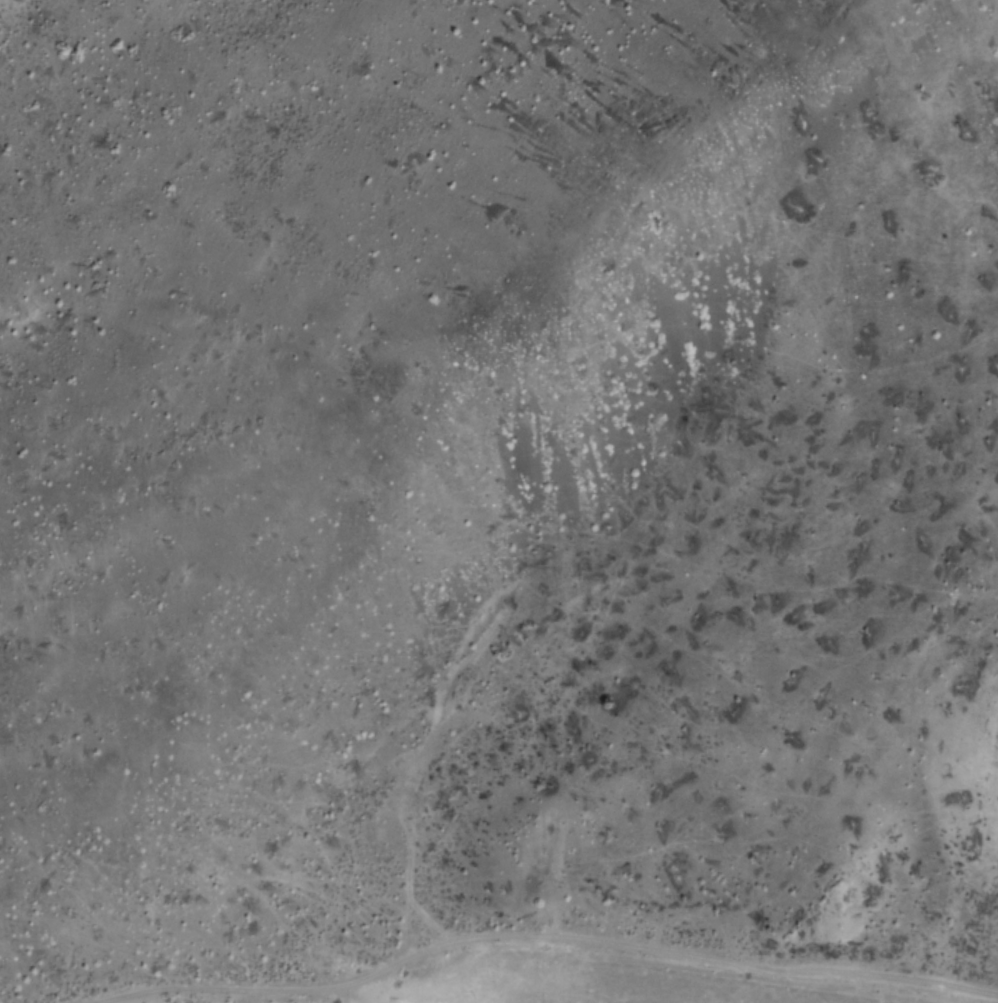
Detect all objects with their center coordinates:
road: (498, 968)

